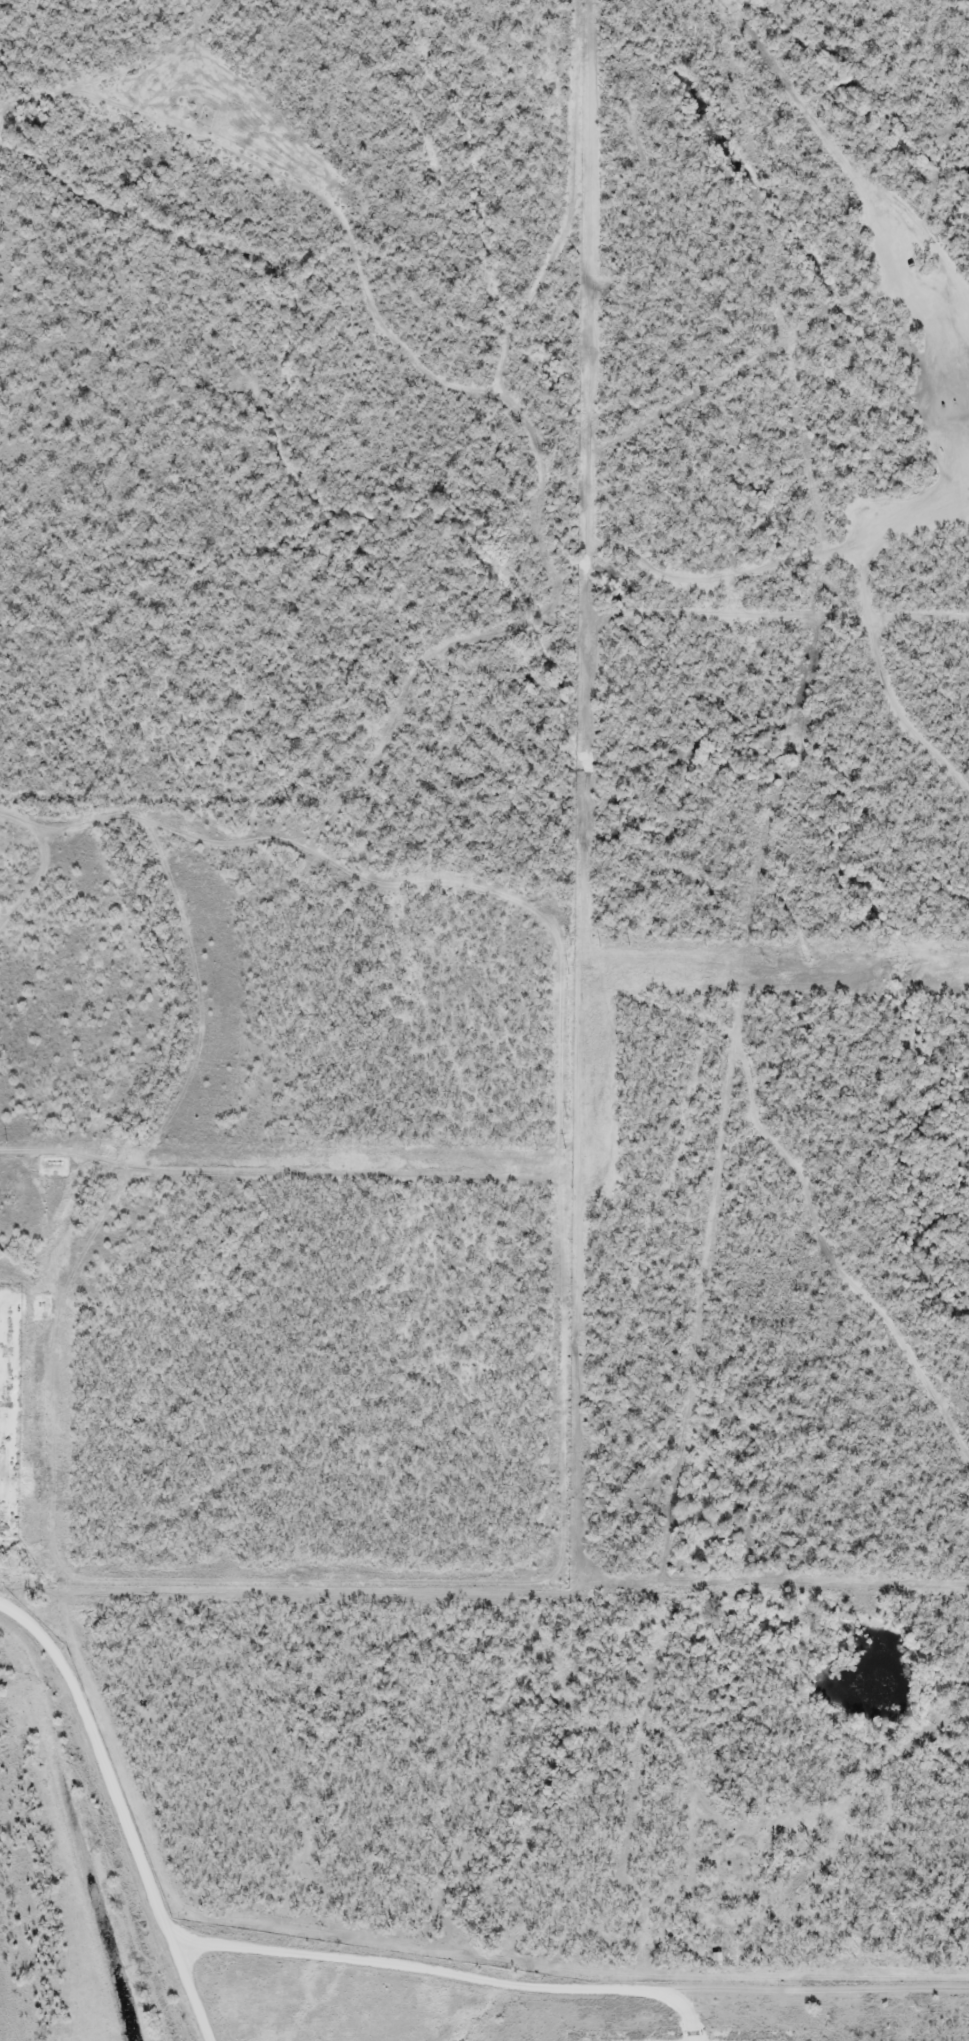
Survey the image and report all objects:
road: (102, 1761)
road: (393, 1967)

